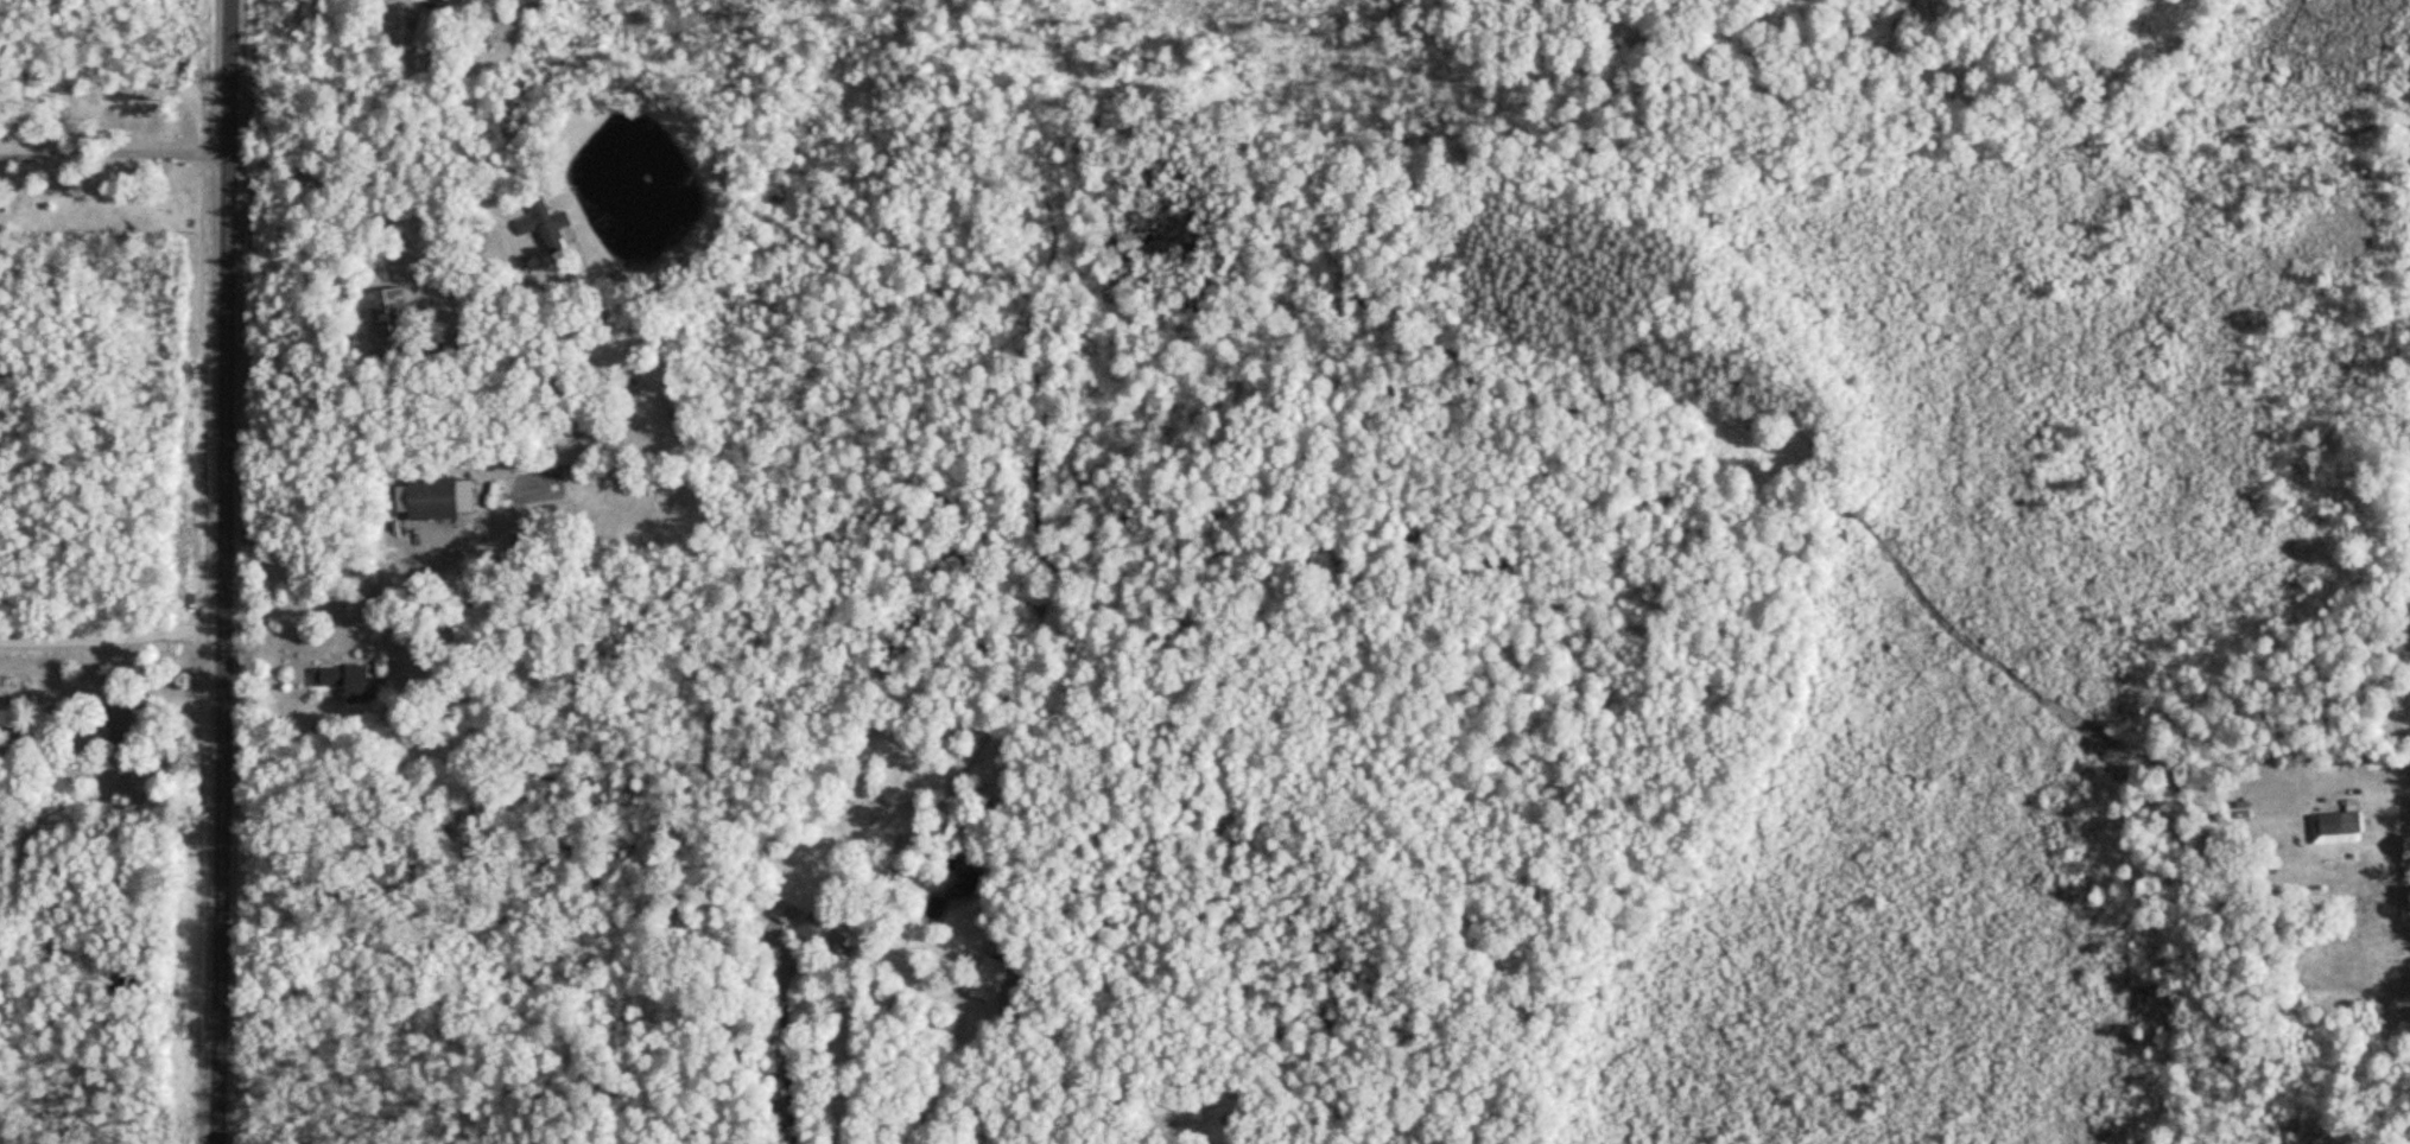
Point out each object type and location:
building: (431, 33)
road: (115, 150)
building: (550, 225)
road: (429, 279)
building: (394, 324)
building: (444, 498)
road: (227, 572)
road: (113, 637)
building: (350, 681)
building: (131, 724)
building: (2345, 821)
building: (908, 838)

